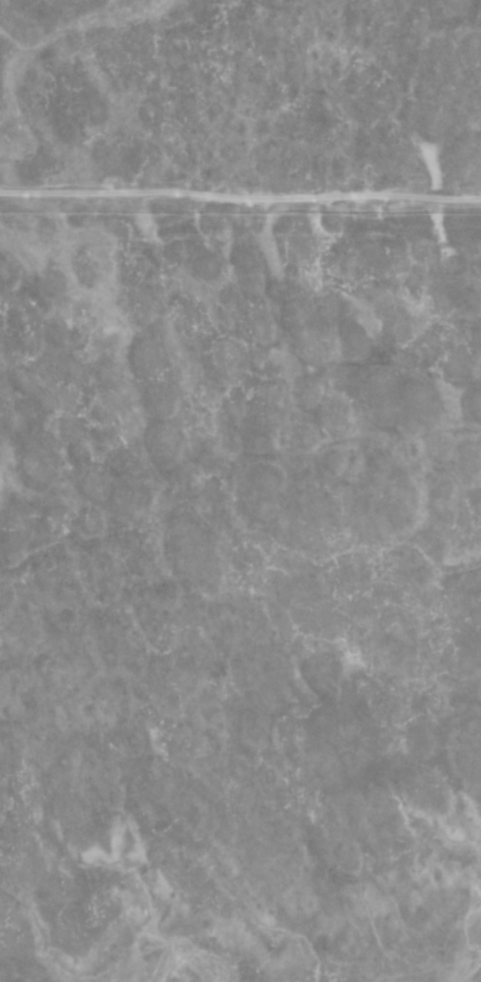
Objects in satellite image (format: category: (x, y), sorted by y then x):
road: (240, 198)

